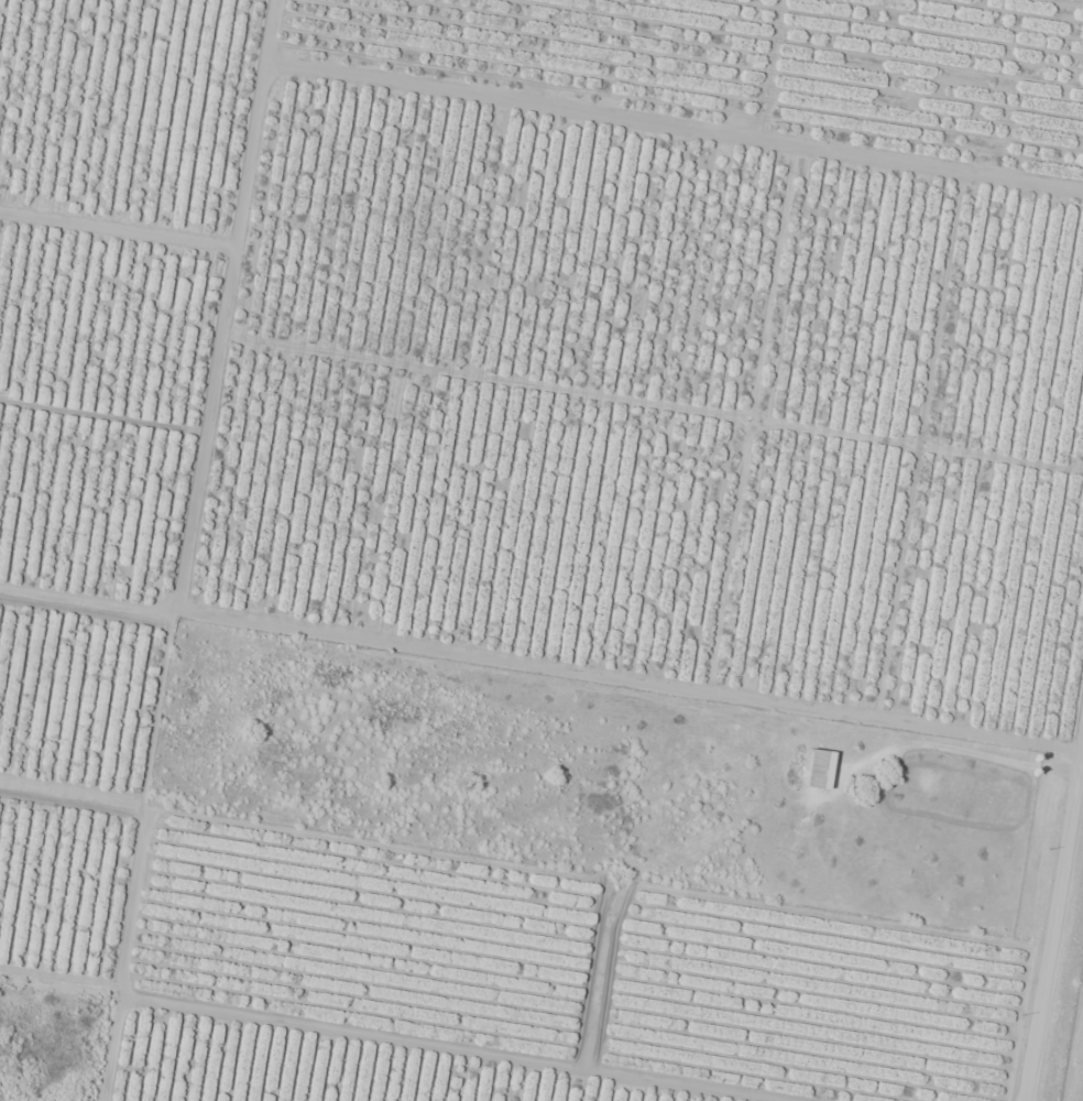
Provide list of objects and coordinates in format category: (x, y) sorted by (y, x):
building: (818, 768)
building: (929, 775)
road: (1055, 930)

